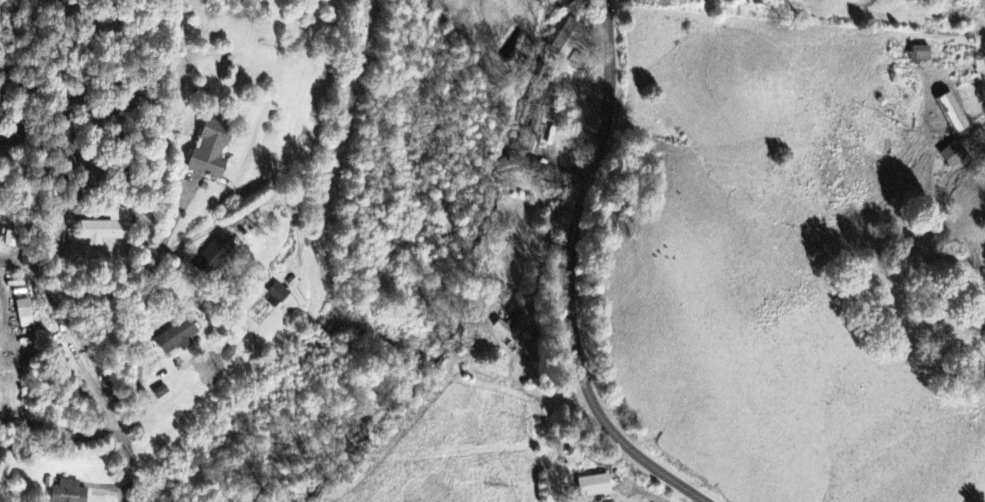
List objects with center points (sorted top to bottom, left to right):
building: (778, 0)
building: (566, 38)
building: (918, 54)
building: (950, 113)
building: (207, 150)
building: (952, 155)
building: (104, 228)
building: (216, 251)
road: (566, 274)
building: (276, 294)
building: (22, 314)
road: (143, 320)
building: (507, 332)
building: (173, 338)
road: (65, 426)
road: (127, 470)
building: (592, 487)
building: (66, 492)

